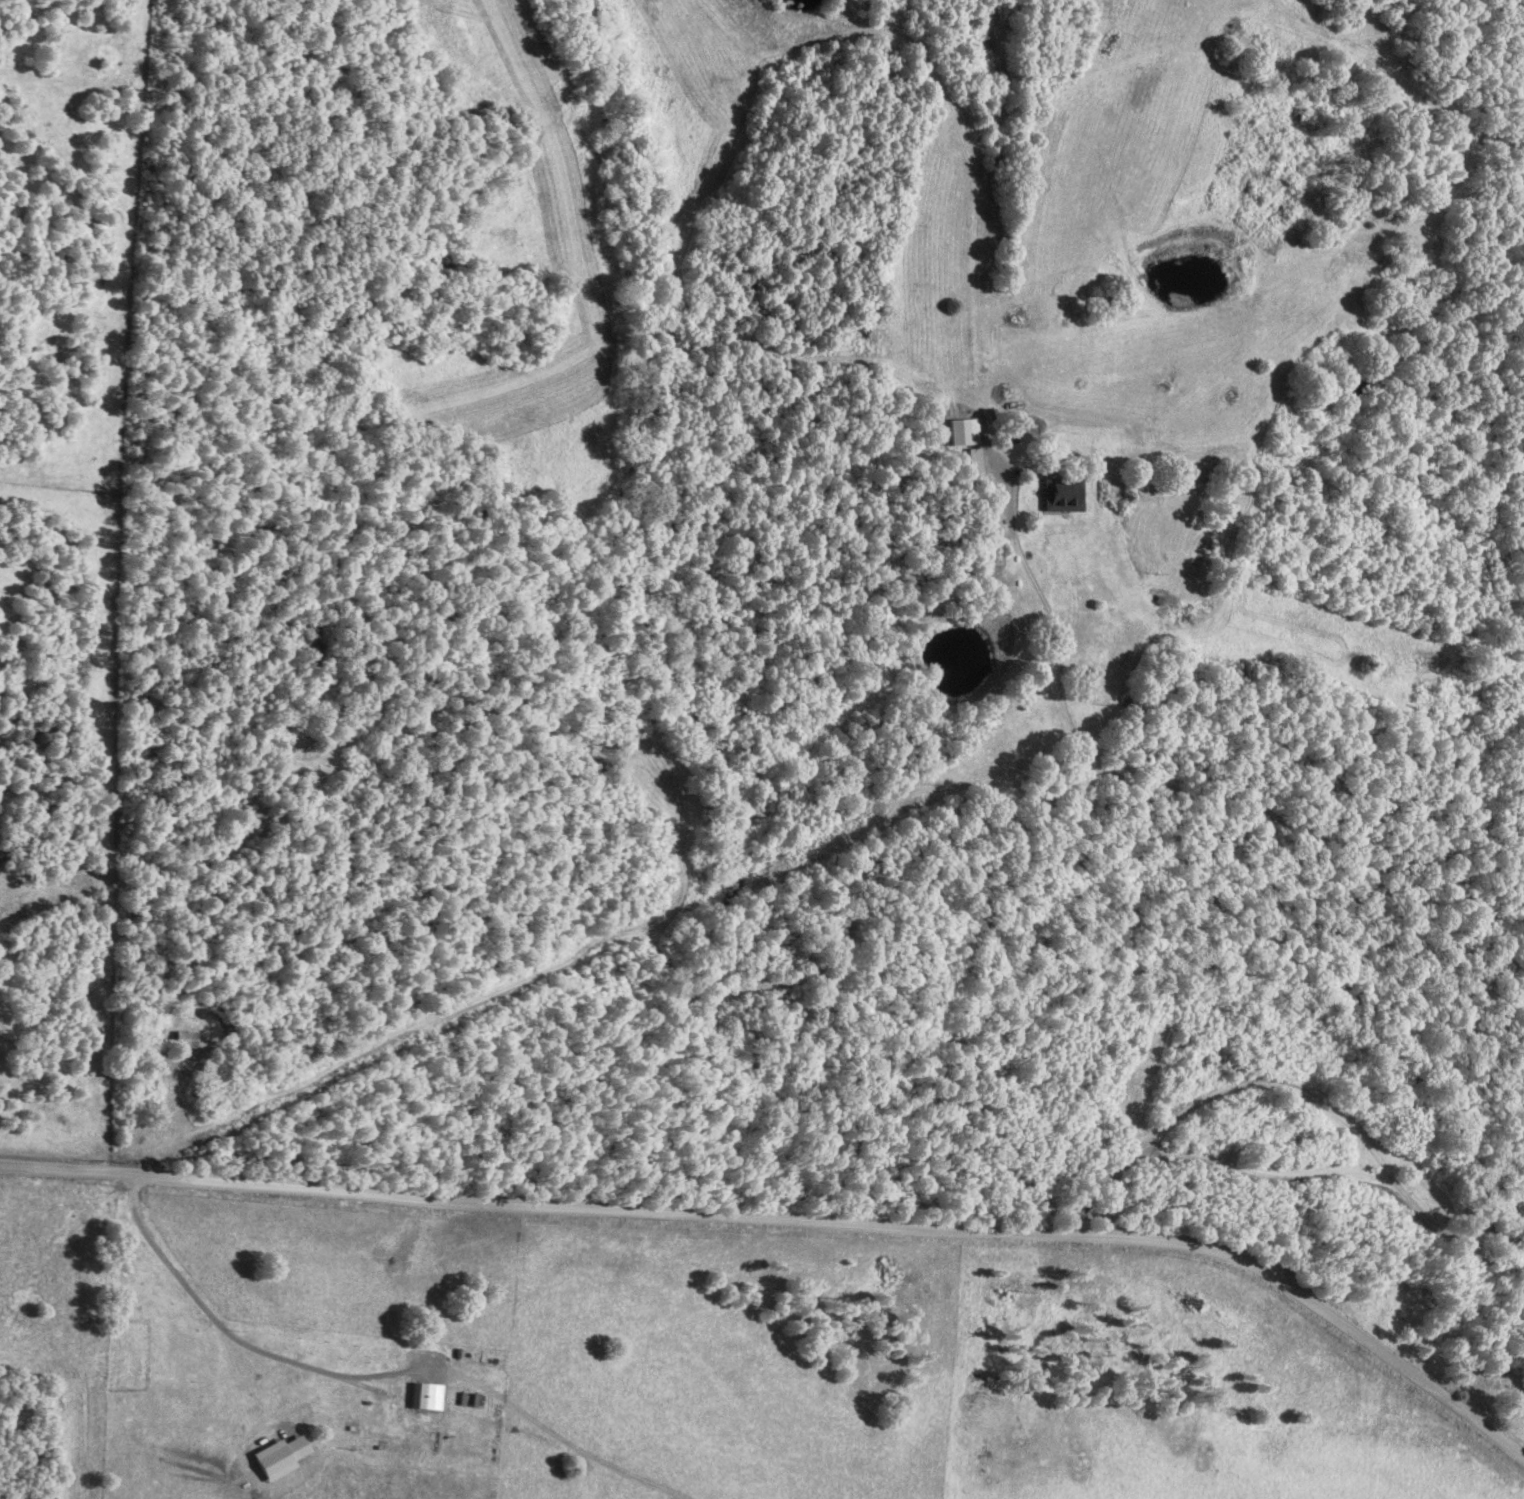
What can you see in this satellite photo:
building: (975, 460)
building: (186, 1039)
road: (793, 1223)
road: (410, 1351)
building: (426, 1397)

